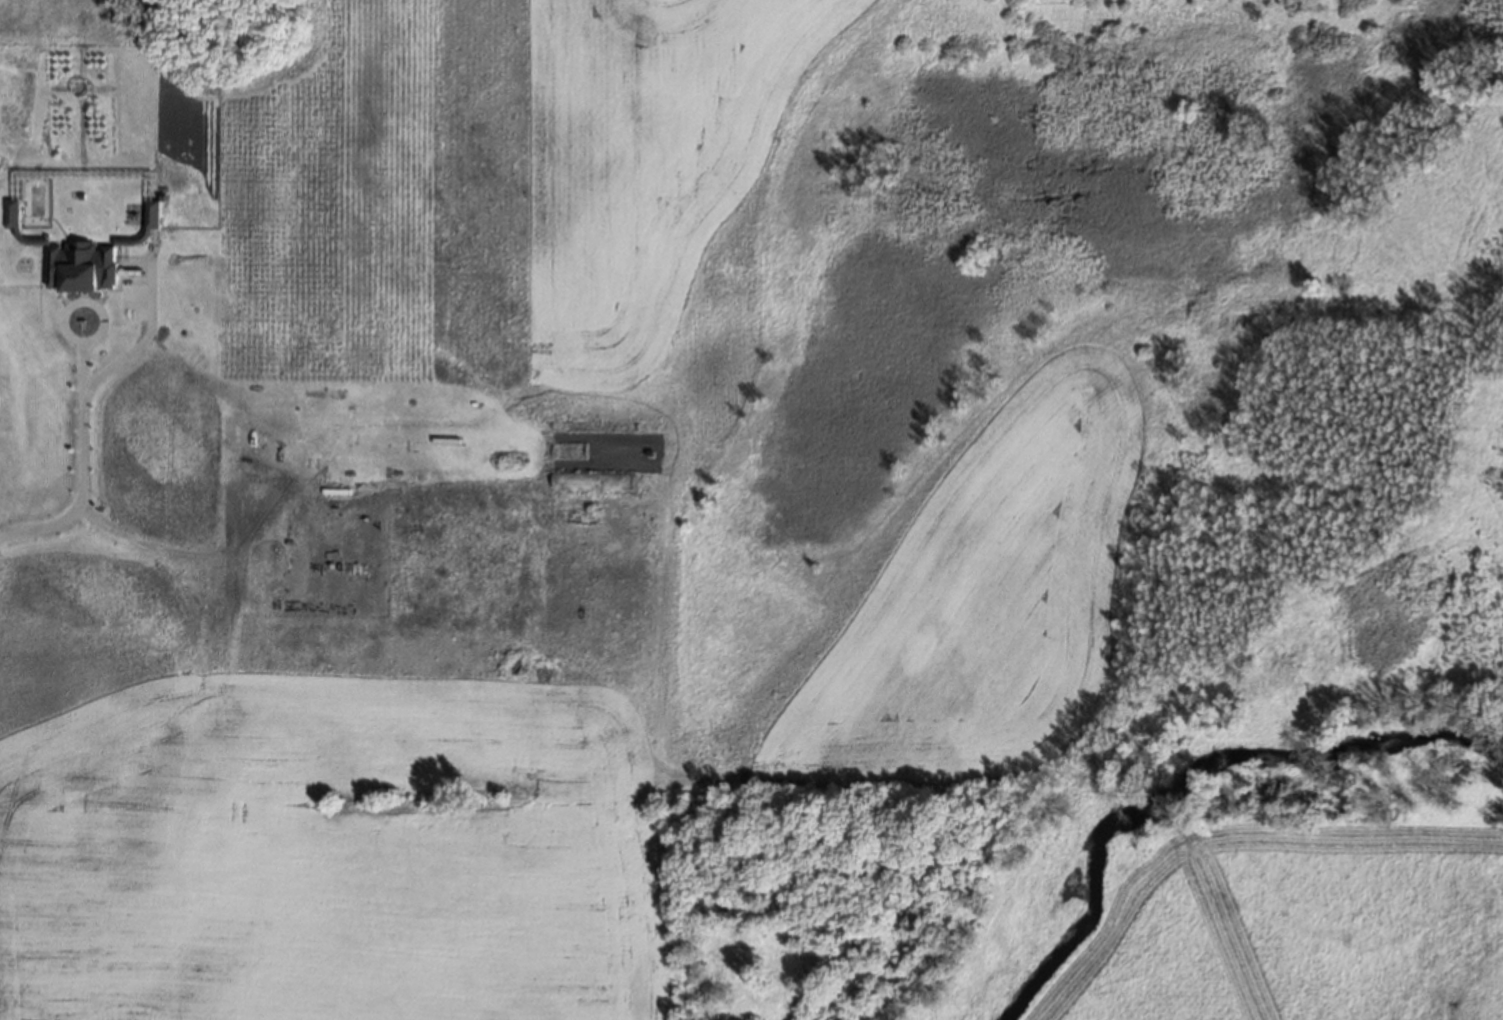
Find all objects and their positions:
building: (161, 194)
building: (7, 211)
building: (151, 211)
building: (80, 264)
road: (78, 415)
river: (1197, 784)

